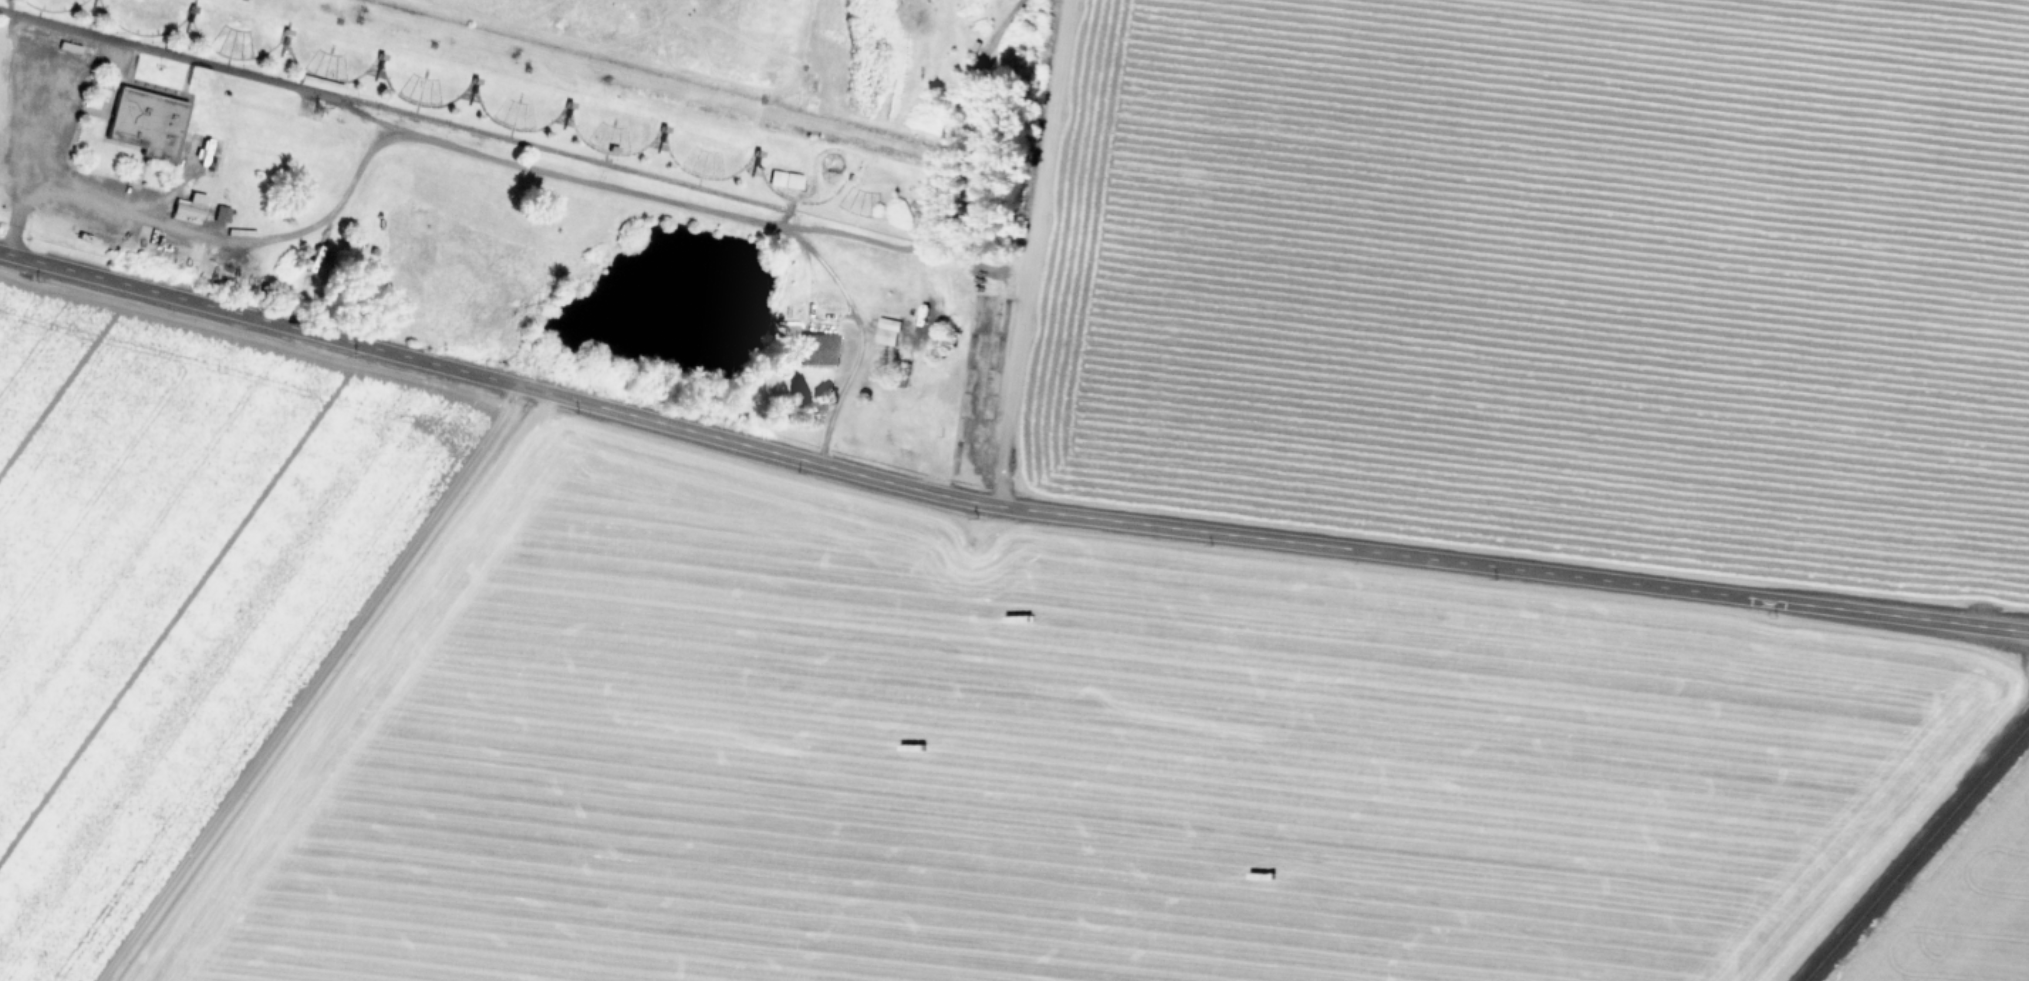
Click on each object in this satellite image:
road: (209, 64)
road: (27, 89)
building: (144, 124)
road: (478, 155)
building: (785, 181)
building: (187, 210)
building: (220, 215)
crop: (1171, 223)
building: (886, 333)
building: (816, 351)
building: (902, 373)
road: (1002, 507)
crop: (812, 732)
railway: (1918, 854)
crop: (1977, 918)

